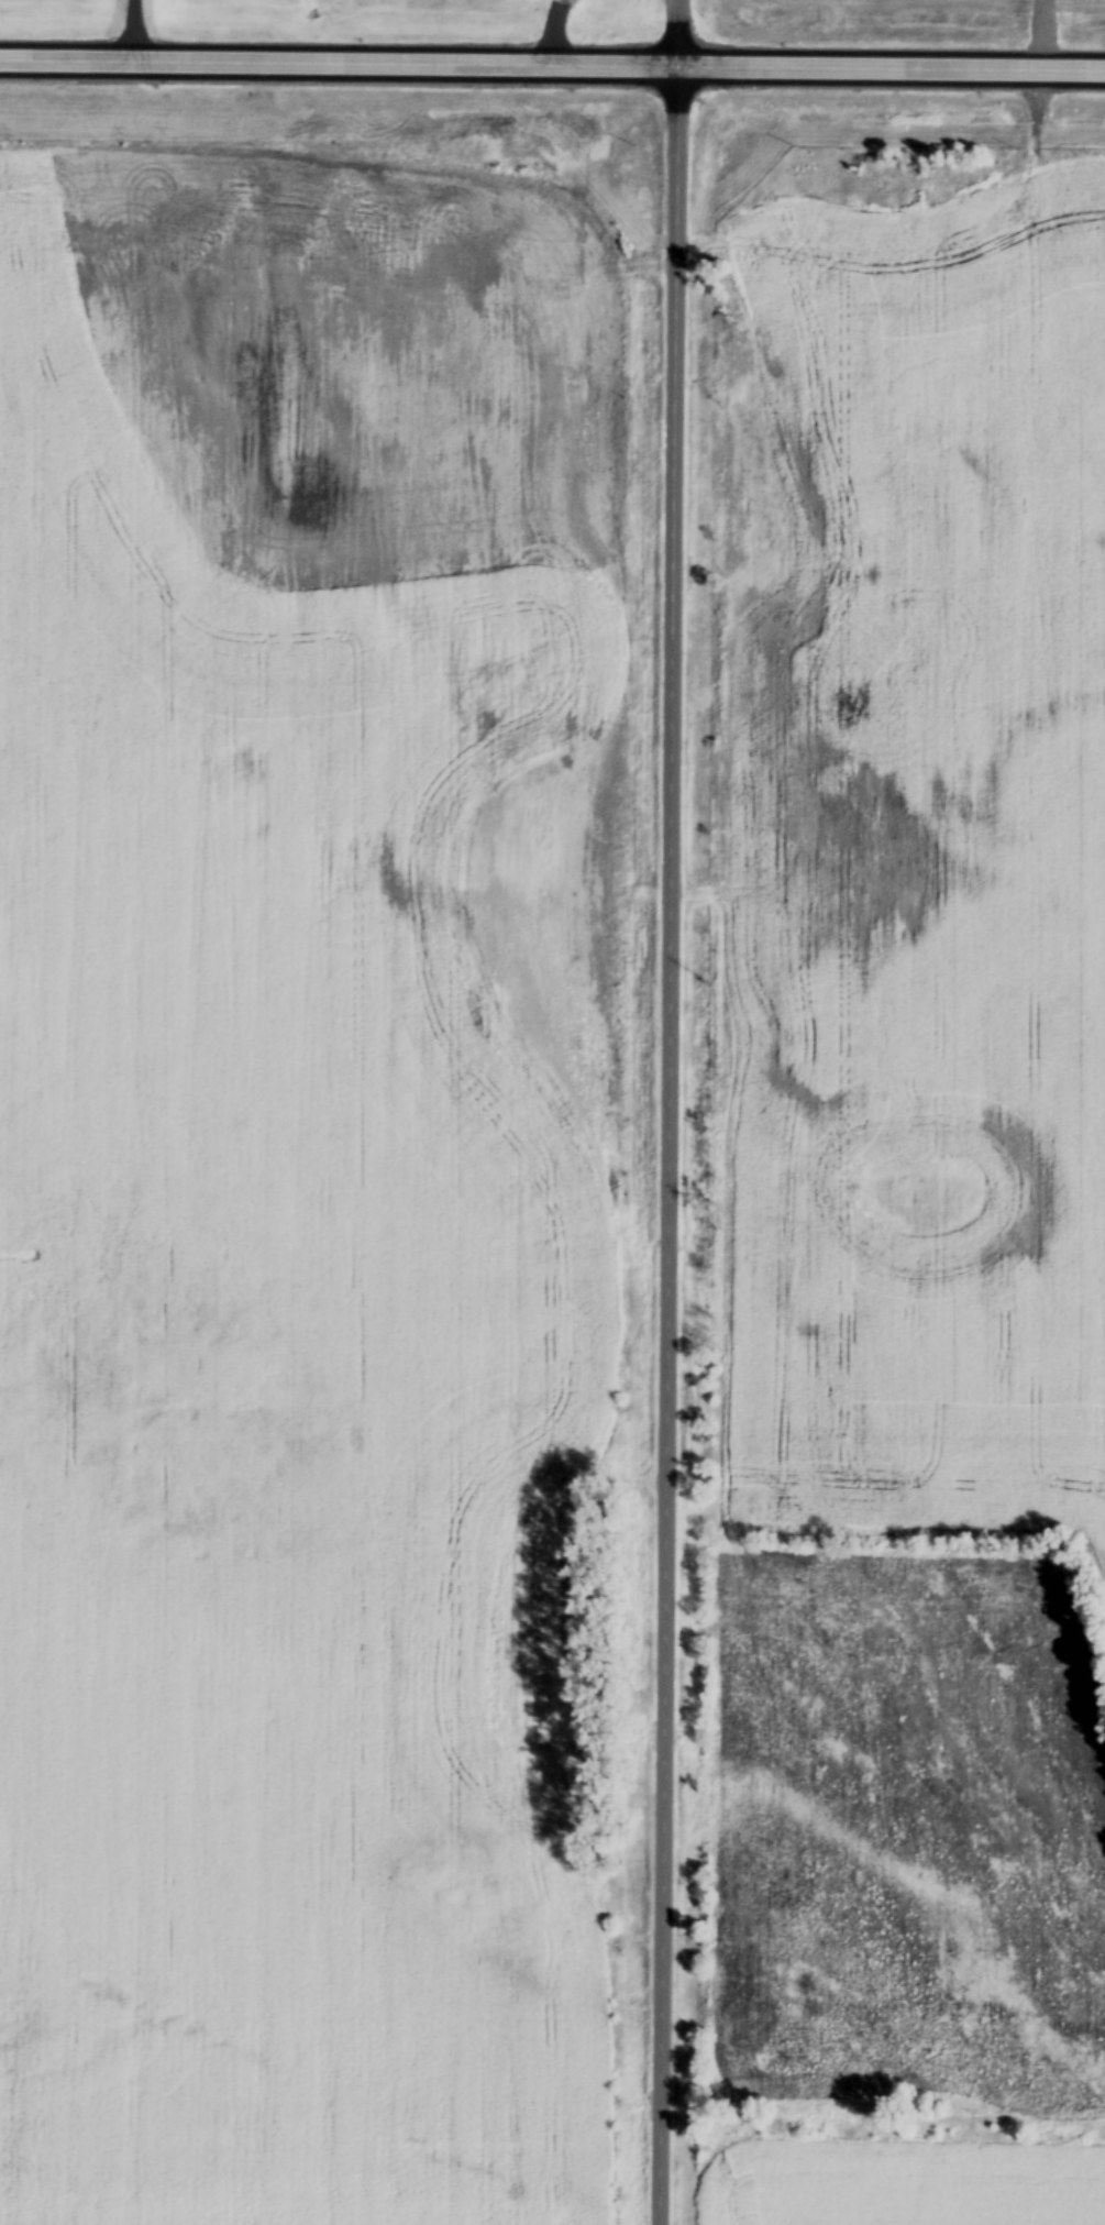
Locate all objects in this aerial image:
road: (134, 26)
road: (552, 58)
road: (667, 1112)

